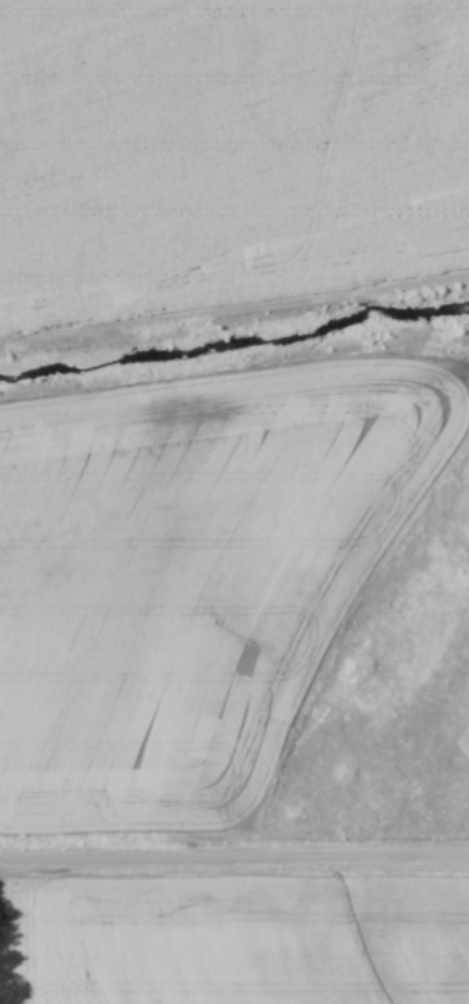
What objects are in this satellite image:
road: (234, 856)

